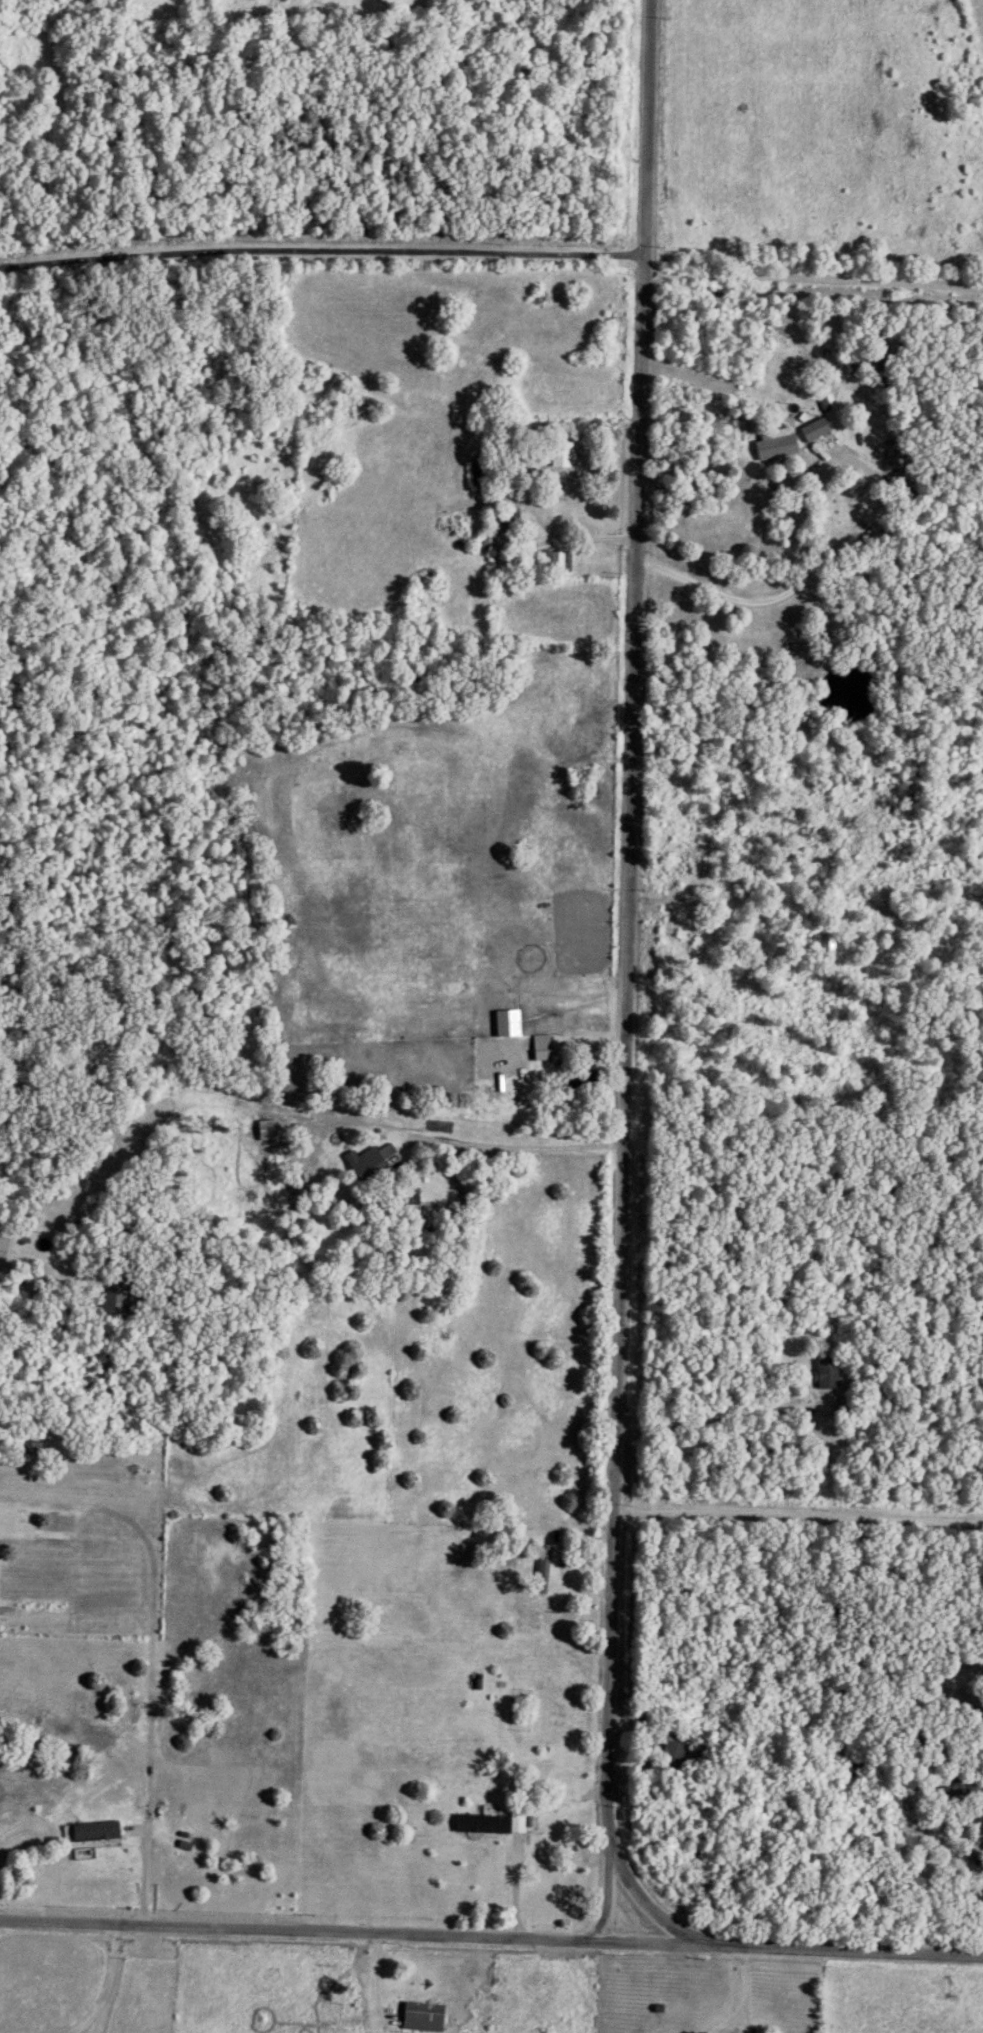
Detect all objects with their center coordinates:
road: (323, 250)
road: (814, 277)
building: (810, 425)
building: (771, 446)
building: (888, 451)
building: (557, 455)
road: (849, 456)
building: (509, 516)
building: (553, 562)
building: (569, 563)
road: (738, 599)
building: (727, 910)
building: (824, 944)
road: (627, 969)
building: (539, 1046)
building: (577, 1078)
road: (514, 1147)
building: (369, 1163)
building: (403, 1198)
building: (824, 1374)
road: (705, 1418)
building: (29, 1448)
road: (800, 1507)
building: (544, 1565)
building: (675, 1758)
building: (963, 1788)
building: (478, 1825)
building: (514, 1825)
road: (647, 1902)
road: (302, 1929)
road: (648, 1939)
road: (836, 1944)
road: (375, 1982)
road: (108, 1983)
road: (745, 1995)
building: (293, 2013)
building: (421, 2018)

